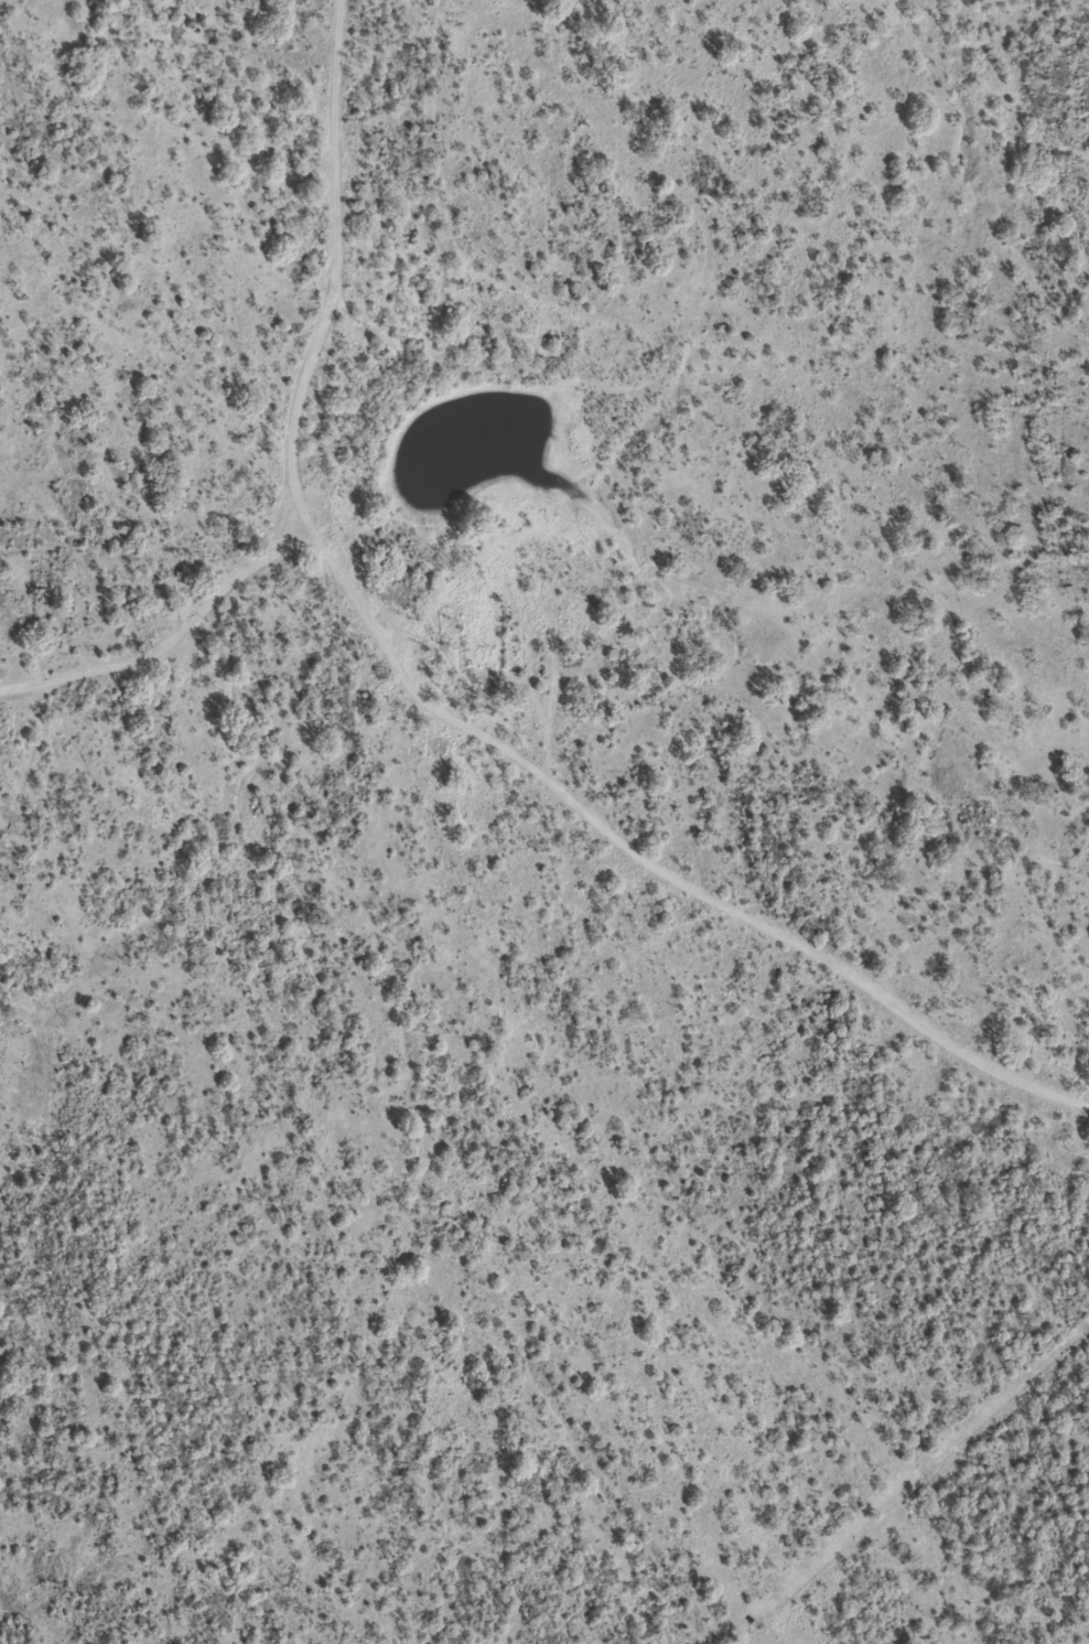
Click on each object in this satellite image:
road: (448, 708)

